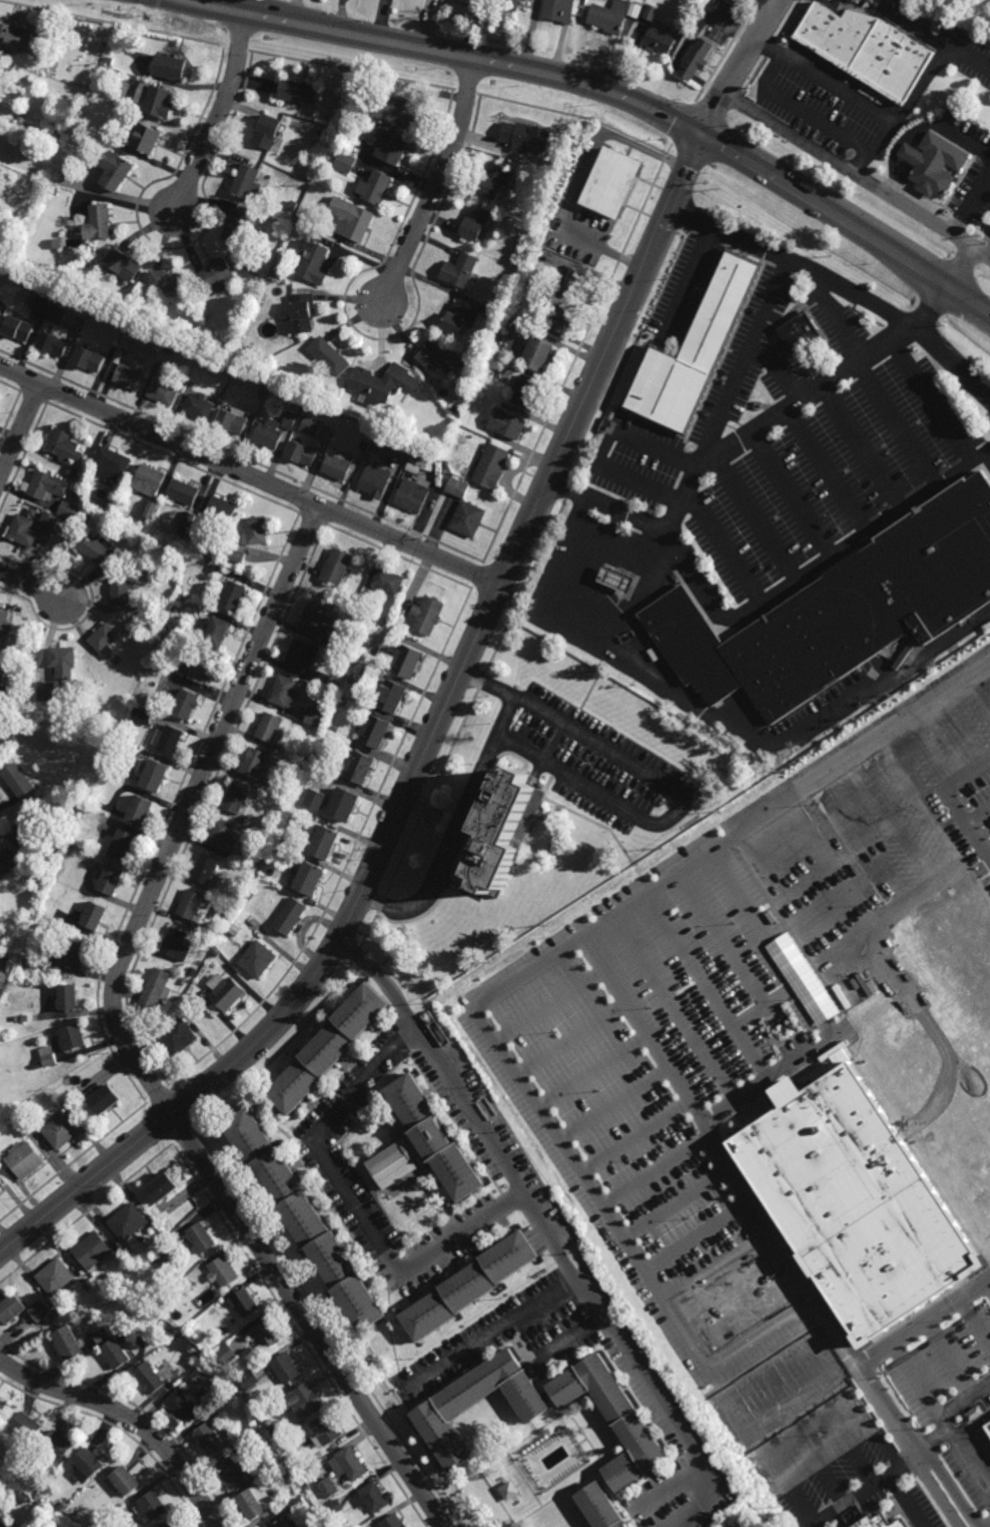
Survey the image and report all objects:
building: (913, 0)
building: (472, 2)
building: (513, 5)
building: (558, 10)
building: (649, 12)
building: (610, 15)
building: (17, 38)
building: (660, 40)
road: (389, 42)
building: (869, 50)
road: (947, 54)
building: (699, 59)
road: (970, 62)
building: (170, 66)
road: (740, 66)
building: (299, 91)
road: (853, 100)
building: (159, 103)
building: (398, 109)
road: (655, 109)
road: (797, 112)
road: (218, 115)
road: (923, 130)
building: (266, 131)
traffic signals: (703, 133)
building: (515, 134)
road: (926, 139)
building: (146, 141)
building: (391, 146)
road: (914, 156)
building: (344, 162)
road: (901, 173)
building: (930, 173)
building: (117, 174)
road: (856, 178)
road: (435, 179)
road: (582, 179)
building: (493, 180)
building: (250, 183)
building: (616, 183)
building: (375, 186)
road: (657, 189)
road: (972, 206)
road: (646, 216)
building: (351, 219)
road: (846, 221)
building: (477, 222)
building: (99, 224)
building: (237, 227)
road: (988, 257)
building: (314, 260)
building: (125, 265)
building: (460, 270)
road: (965, 270)
building: (218, 276)
building: (167, 282)
road: (689, 284)
building: (575, 285)
road: (840, 286)
parking lot: (683, 292)
building: (41, 304)
building: (304, 311)
building: (1, 314)
building: (57, 315)
road: (836, 318)
building: (460, 319)
building: (560, 319)
parking lot: (834, 322)
building: (19, 329)
building: (802, 336)
building: (54, 344)
building: (539, 354)
building: (330, 355)
building: (441, 355)
parking lot: (746, 355)
building: (694, 356)
building: (90, 360)
road: (744, 360)
road: (776, 369)
parking lot: (782, 374)
building: (129, 377)
building: (384, 382)
building: (528, 391)
building: (164, 393)
road: (932, 396)
building: (200, 408)
building: (290, 420)
road: (893, 422)
building: (234, 423)
building: (508, 424)
building: (312, 426)
road: (19, 429)
road: (741, 434)
building: (270, 435)
road: (860, 444)
building: (65, 447)
road: (604, 449)
building: (304, 454)
parking lot: (636, 462)
building: (427, 463)
building: (114, 464)
road: (980, 465)
building: (338, 468)
building: (492, 468)
road: (825, 468)
parking lot: (826, 473)
road: (988, 475)
road: (249, 476)
building: (150, 481)
building: (377, 481)
building: (46, 486)
building: (458, 487)
road: (941, 491)
road: (789, 492)
building: (186, 493)
building: (413, 495)
building: (152, 509)
building: (68, 510)
building: (224, 512)
road: (906, 515)
road: (753, 516)
building: (470, 520)
building: (49, 522)
building: (258, 531)
building: (23, 532)
road: (869, 540)
road: (719, 548)
building: (101, 551)
building: (238, 556)
road: (835, 562)
road: (811, 566)
building: (341, 567)
road: (597, 573)
building: (618, 580)
gas station: (618, 580)
road: (824, 581)
building: (389, 583)
road: (32, 585)
road: (797, 588)
building: (122, 592)
road: (640, 595)
building: (234, 598)
road: (660, 601)
road: (766, 608)
building: (843, 613)
road: (636, 615)
building: (428, 616)
building: (318, 620)
building: (4, 624)
building: (221, 635)
building: (107, 641)
road: (473, 646)
building: (302, 655)
building: (407, 661)
building: (0, 662)
road: (604, 662)
building: (65, 663)
building: (206, 667)
building: (3, 680)
road: (590, 690)
building: (46, 691)
building: (286, 694)
building: (392, 698)
road: (827, 703)
building: (189, 708)
building: (142, 716)
building: (316, 716)
road: (711, 717)
building: (270, 731)
building: (377, 734)
road: (558, 741)
building: (172, 743)
building: (256, 766)
building: (362, 770)
road: (967, 774)
building: (157, 778)
building: (19, 782)
road: (547, 788)
road: (943, 789)
building: (238, 799)
building: (315, 799)
road: (467, 805)
building: (346, 807)
road: (679, 808)
road: (187, 811)
building: (141, 813)
building: (27, 825)
road: (601, 826)
building: (504, 831)
building: (226, 840)
building: (328, 844)
building: (125, 847)
road: (988, 855)
building: (8, 863)
building: (207, 873)
building: (311, 880)
building: (111, 882)
building: (190, 905)
building: (95, 917)
building: (291, 918)
road: (723, 936)
road: (579, 940)
road: (772, 945)
building: (176, 946)
building: (76, 955)
building: (258, 960)
road: (710, 986)
building: (156, 991)
building: (226, 997)
building: (69, 999)
road: (768, 1007)
road: (678, 1008)
parking lot: (742, 1014)
building: (74, 1036)
building: (179, 1037)
building: (328, 1048)
building: (48, 1056)
road: (771, 1087)
building: (107, 1100)
building: (62, 1131)
building: (424, 1145)
building: (25, 1159)
road: (658, 1178)
road: (87, 1182)
building: (164, 1184)
building: (1, 1189)
building: (848, 1203)
road: (356, 1204)
road: (606, 1213)
road: (682, 1215)
building: (306, 1220)
building: (167, 1221)
building: (130, 1223)
road: (546, 1229)
building: (142, 1236)
building: (201, 1236)
building: (93, 1249)
building: (130, 1251)
road: (710, 1255)
building: (166, 1256)
road: (978, 1266)
building: (223, 1270)
building: (56, 1275)
building: (108, 1275)
building: (195, 1276)
building: (470, 1286)
road: (983, 1291)
road: (734, 1292)
building: (244, 1301)
building: (12, 1306)
building: (40, 1309)
building: (153, 1315)
road: (923, 1318)
road: (309, 1319)
road: (762, 1332)
building: (265, 1333)
building: (103, 1334)
road: (496, 1335)
road: (571, 1340)
building: (69, 1342)
building: (116, 1352)
building: (227, 1353)
building: (286, 1366)
road: (787, 1371)
building: (201, 1374)
building: (151, 1376)
building: (176, 1379)
building: (250, 1380)
building: (303, 1399)
road: (806, 1401)
building: (3, 1405)
building: (611, 1406)
building: (184, 1407)
building: (984, 1409)
road: (949, 1410)
building: (436, 1415)
road: (129, 1417)
building: (27, 1425)
building: (326, 1430)
building: (267, 1434)
building: (211, 1438)
building: (58, 1444)
building: (233, 1444)
road: (919, 1444)
road: (904, 1447)
building: (285, 1448)
building: (90, 1462)
road: (908, 1463)
building: (349, 1464)
building: (233, 1472)
building: (624, 1472)
building: (288, 1473)
building: (308, 1479)
building: (124, 1480)
road: (879, 1483)
building: (308, 1486)
building: (329, 1487)
building: (510, 1491)
building: (38, 1496)
building: (20, 1497)
building: (373, 1497)
building: (256, 1504)
building: (155, 1505)
building: (299, 1505)
building: (601, 1507)
building: (59, 1508)
building: (335, 1508)
building: (393, 1521)
building: (287, 1522)
building: (874, 1522)
building: (6, 1524)
building: (176, 1525)

